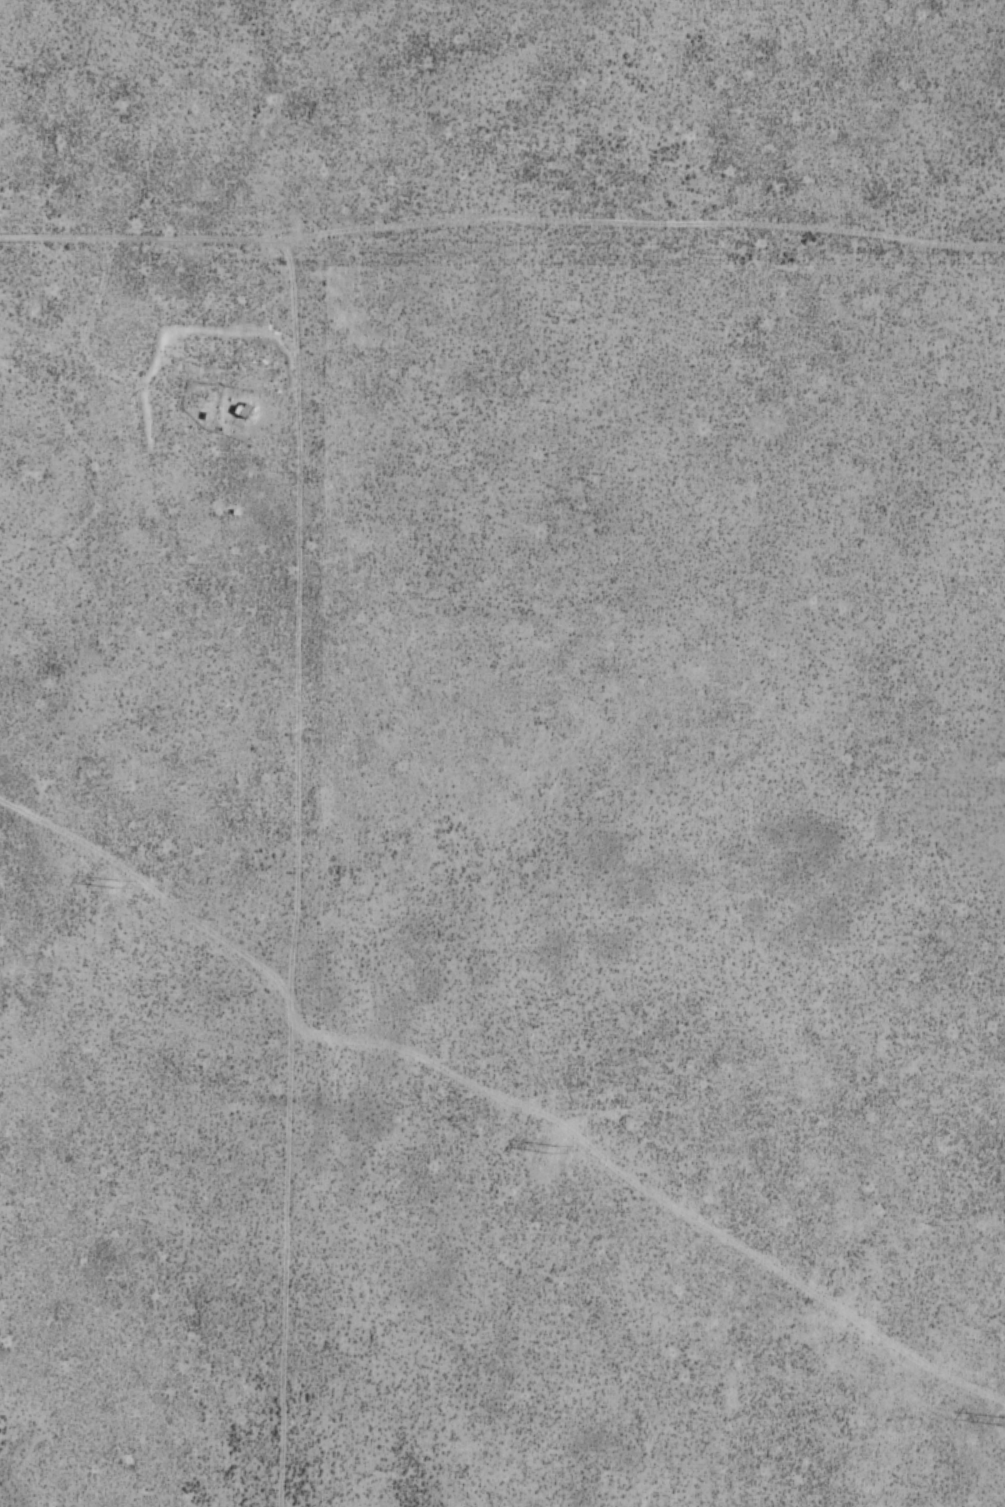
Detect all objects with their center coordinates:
road: (501, 217)
road: (289, 269)
power tower: (114, 883)
road: (305, 904)
power tower: (552, 1145)
power tower: (996, 1415)

